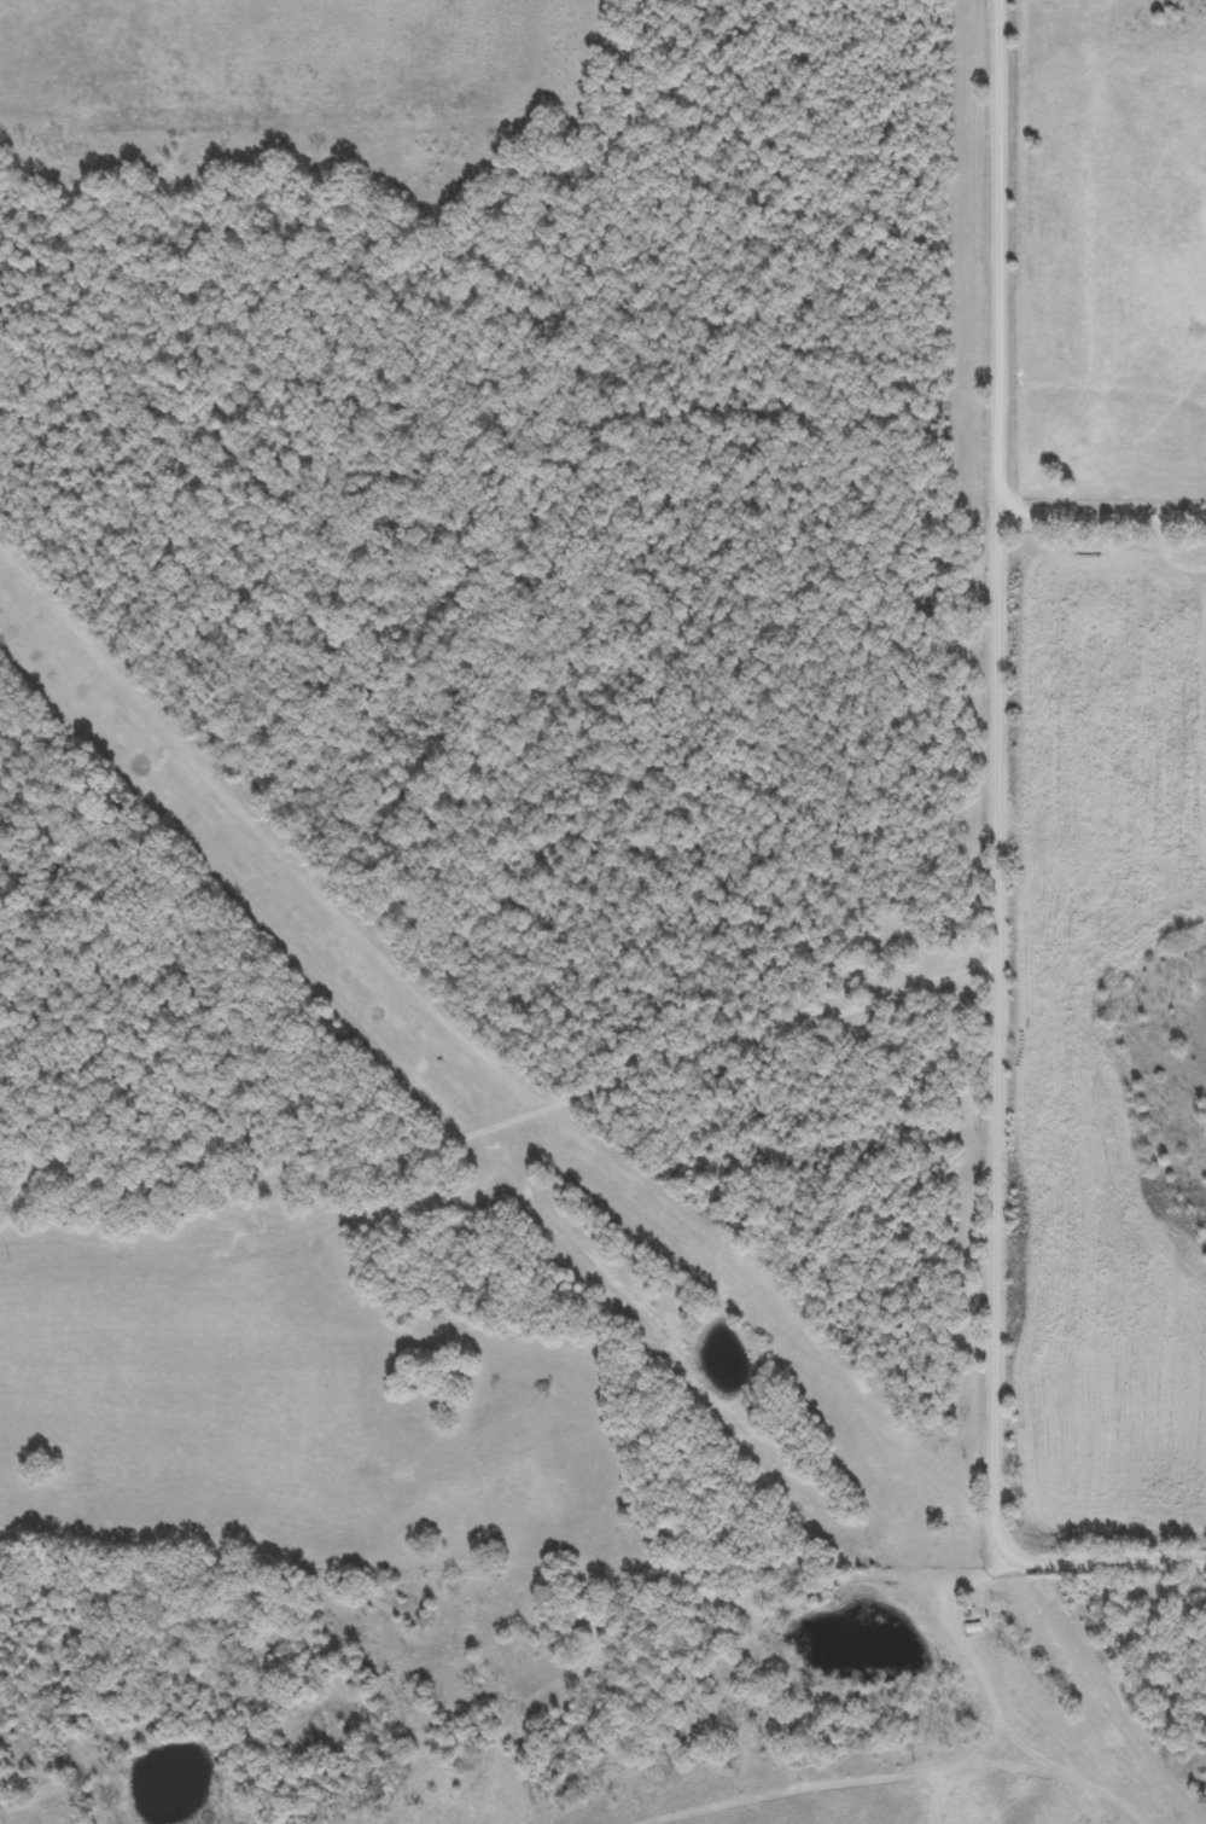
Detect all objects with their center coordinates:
road: (1101, 513)
road: (986, 878)
road: (503, 1129)
road: (793, 1611)

